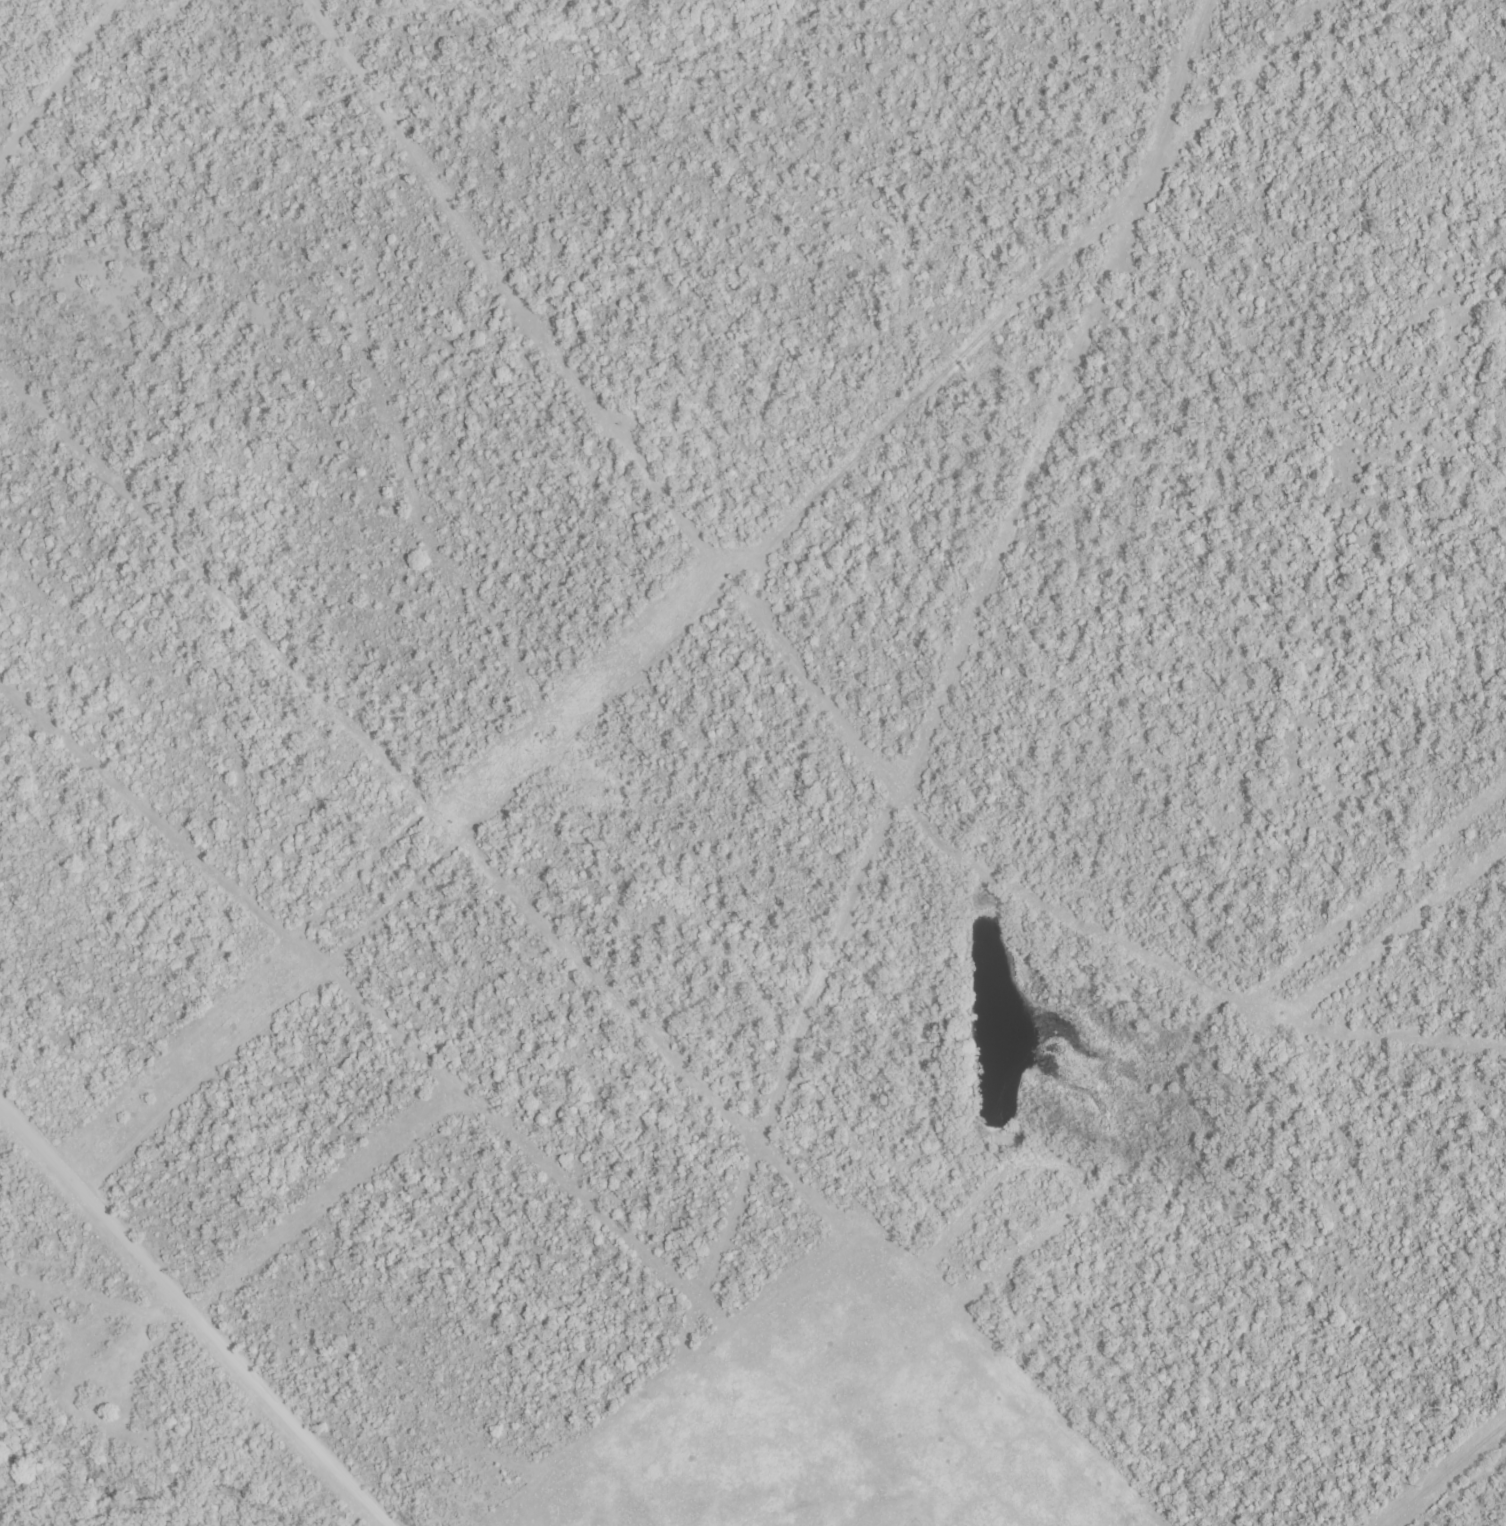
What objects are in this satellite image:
road: (193, 1317)

